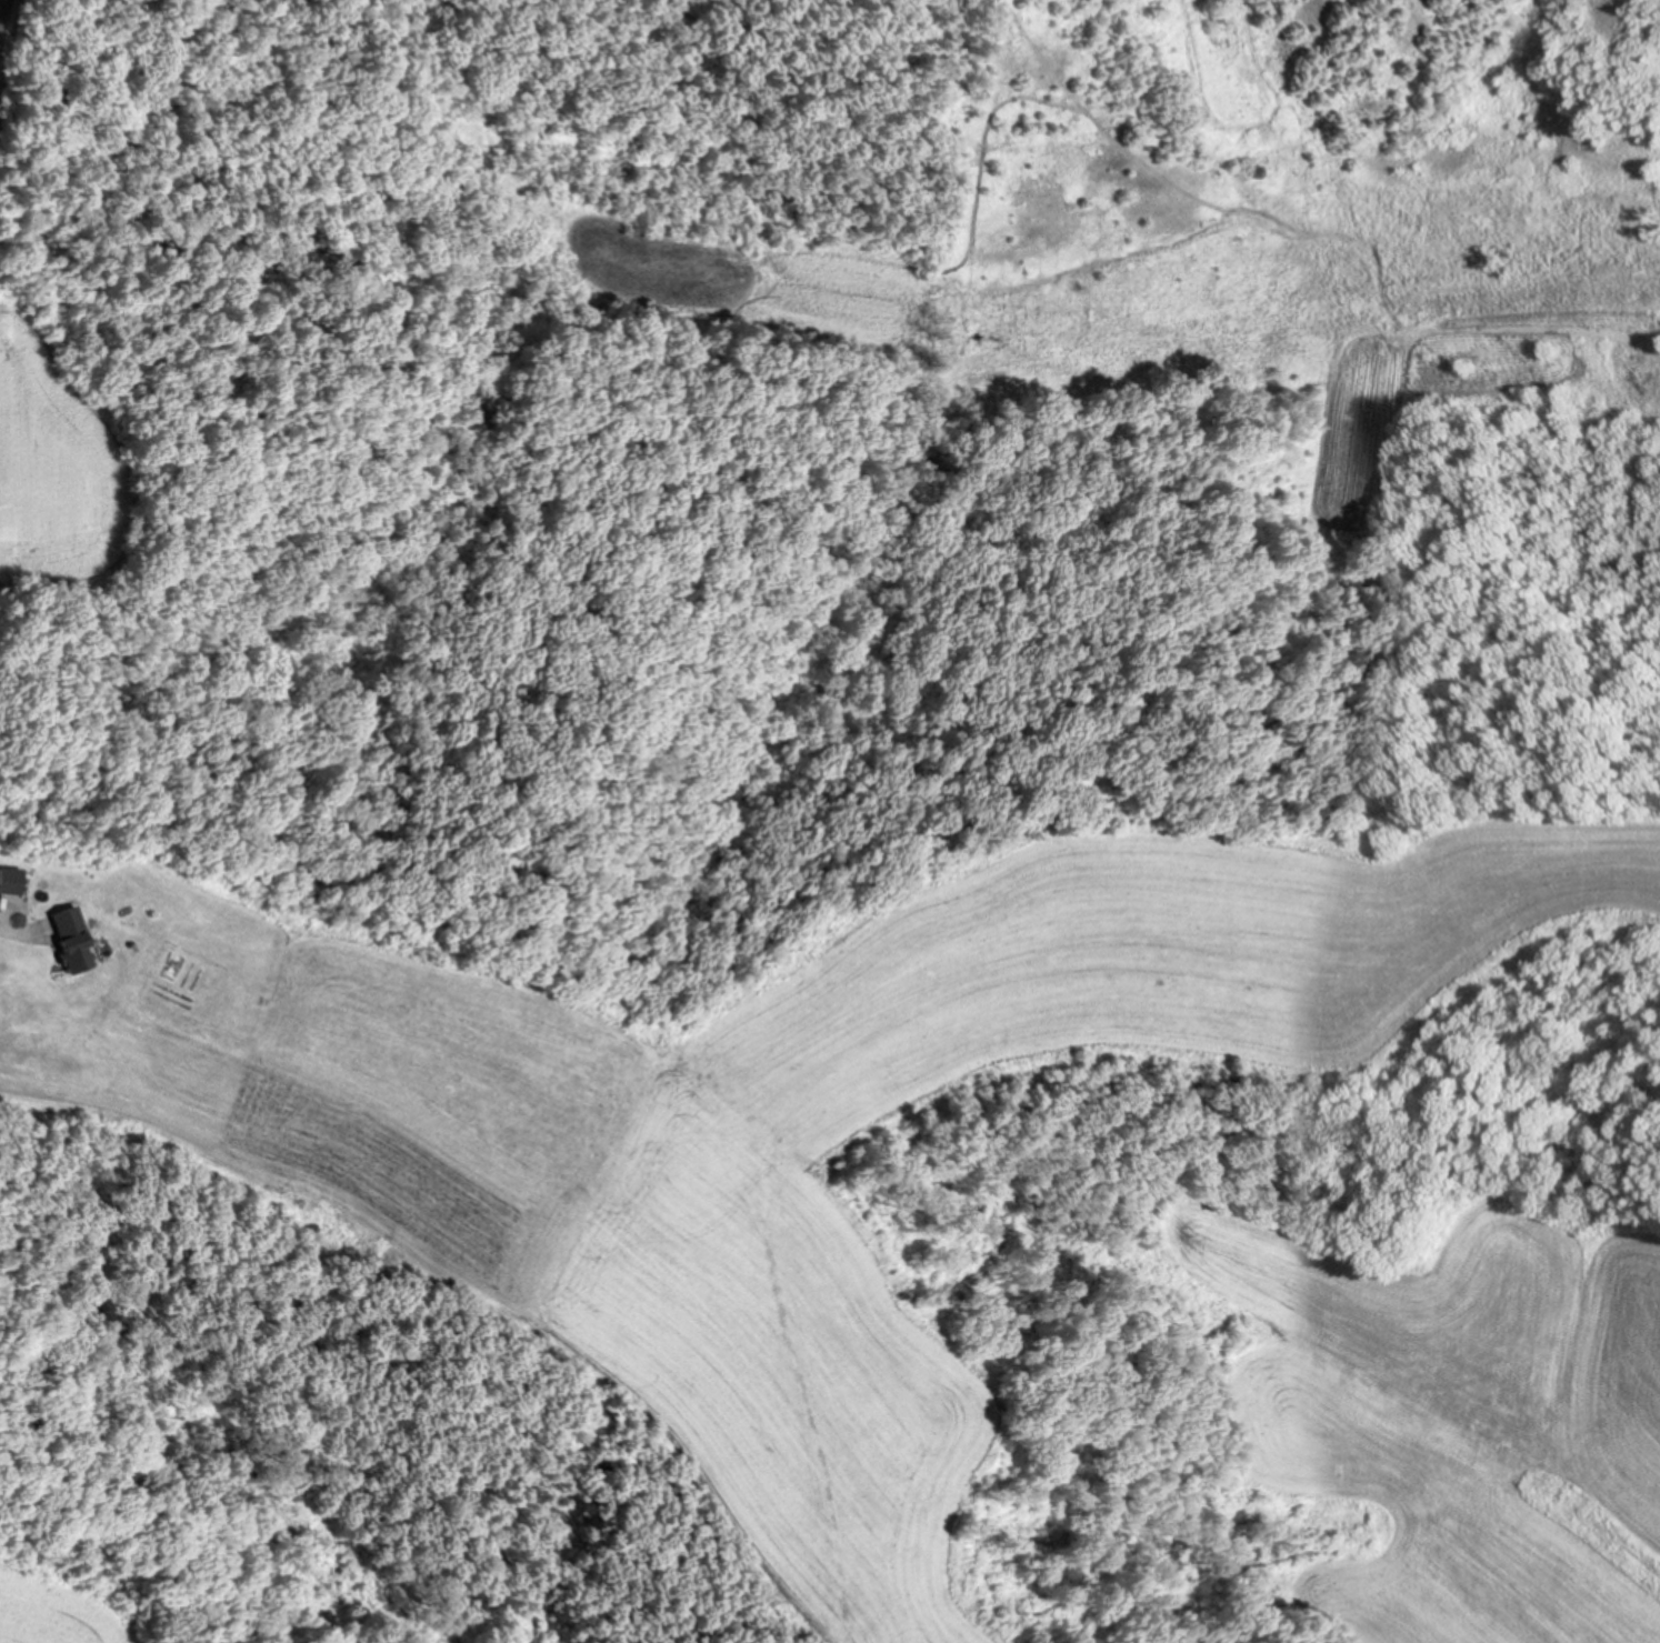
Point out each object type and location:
road: (9, 39)
building: (69, 939)
road: (467, 1279)

